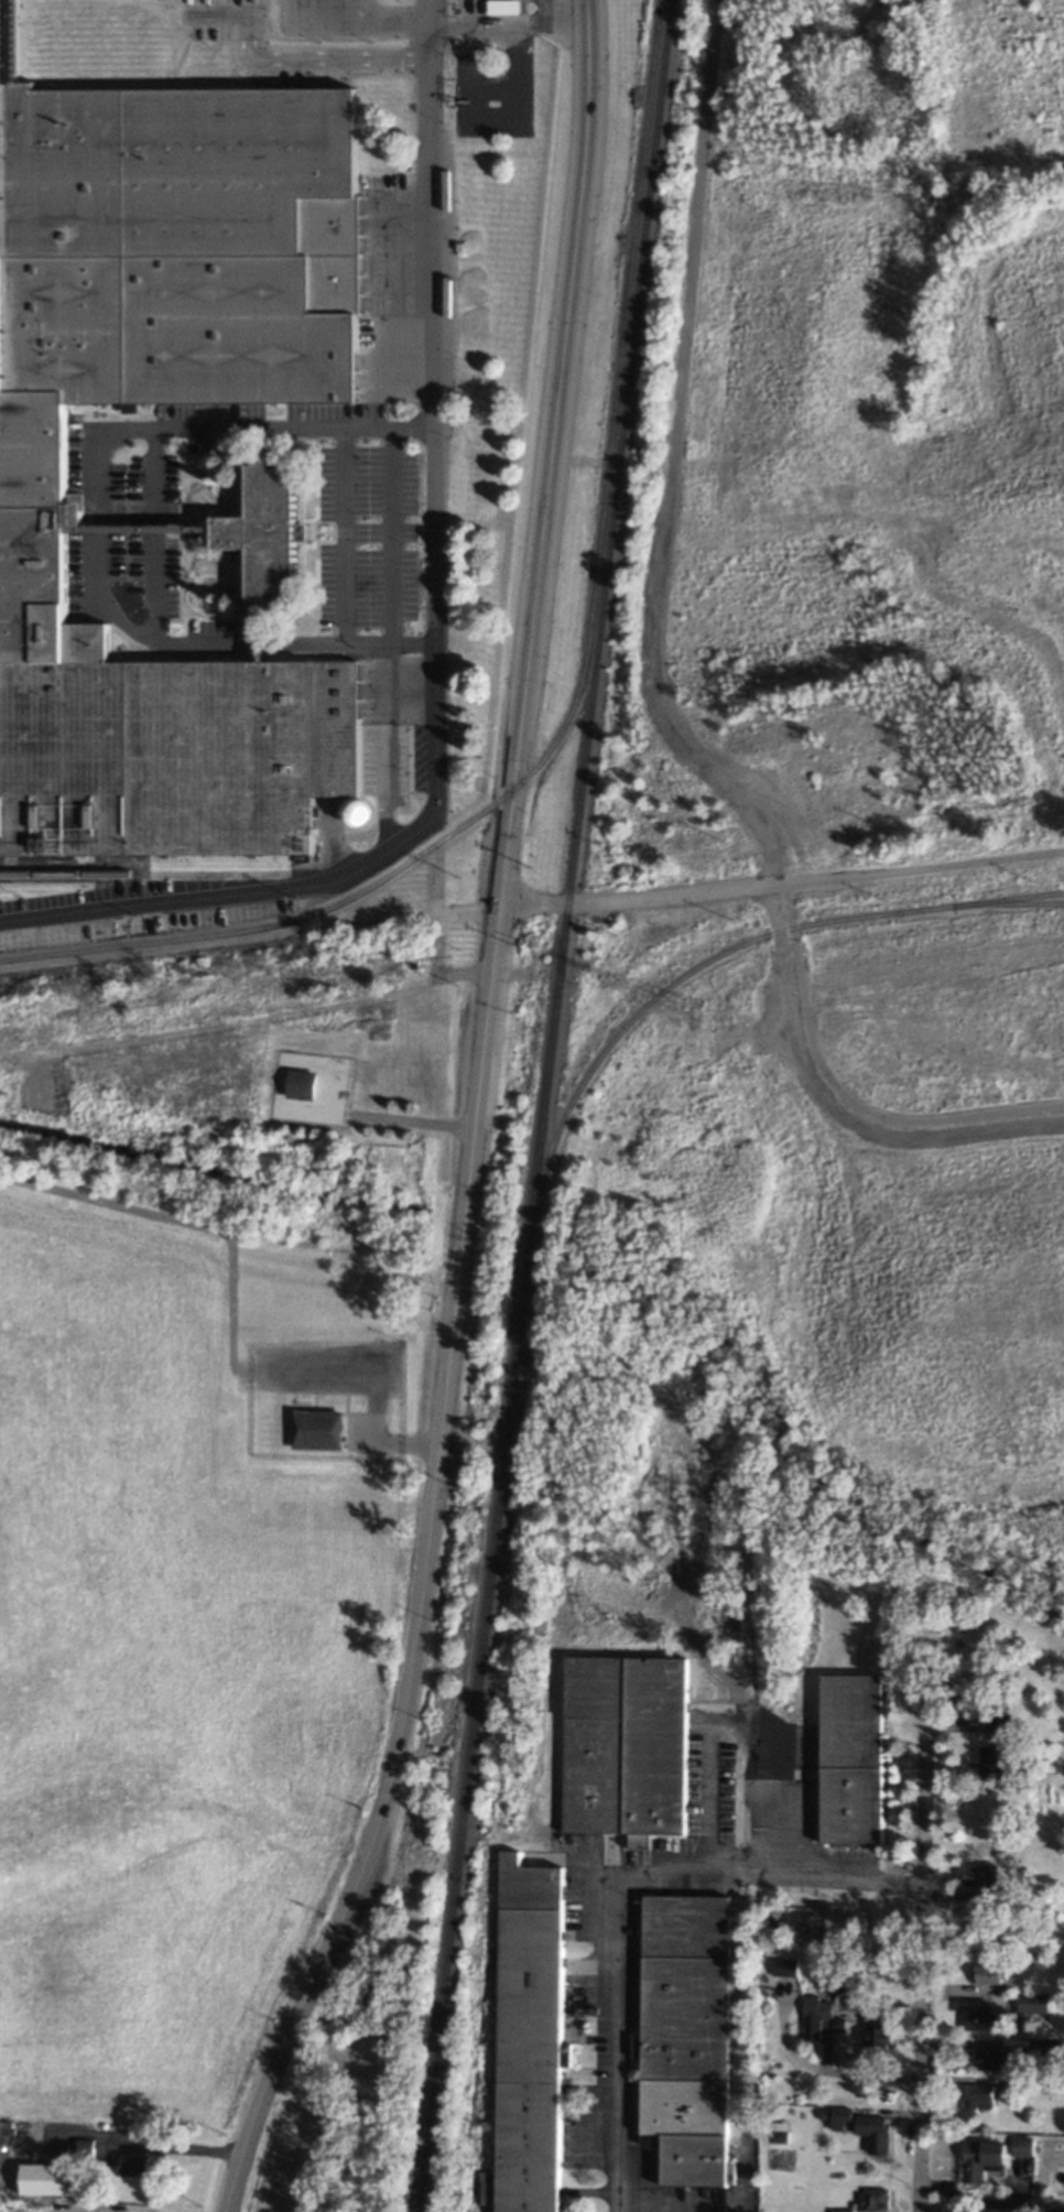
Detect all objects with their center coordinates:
building: (502, 7)
road: (388, 20)
building: (167, 85)
road: (546, 454)
road: (672, 462)
building: (33, 468)
park: (853, 476)
road: (96, 528)
road: (132, 531)
building: (258, 533)
road: (154, 535)
road: (345, 536)
road: (391, 536)
road: (431, 633)
railway: (579, 679)
road: (386, 792)
water tower: (352, 814)
road: (326, 843)
road: (919, 864)
railway: (143, 874)
road: (636, 898)
railway: (1007, 903)
road: (785, 906)
railway: (704, 966)
power tower: (685, 1012)
building: (298, 1084)
railway: (543, 1105)
road: (833, 1108)
road: (864, 1108)
park: (868, 1232)
building: (316, 1430)
road: (425, 1574)
building: (594, 1688)
crop: (162, 1692)
building: (853, 1721)
building: (999, 1724)
building: (654, 1748)
building: (991, 1763)
building: (593, 1775)
building: (851, 1804)
building: (980, 1875)
road: (609, 1885)
building: (784, 1967)
road: (924, 1971)
building: (988, 1974)
building: (1032, 2003)
building: (978, 2015)
building: (814, 2016)
building: (878, 2035)
building: (528, 2036)
building: (685, 2037)
building: (995, 2059)
road: (858, 2075)
building: (978, 2097)
building: (864, 2128)
building: (1021, 2146)
road: (174, 2148)
building: (84, 2149)
building: (980, 2160)
building: (133, 2165)
building: (46, 2180)
building: (872, 2200)
building: (843, 2210)
building: (1057, 2210)

